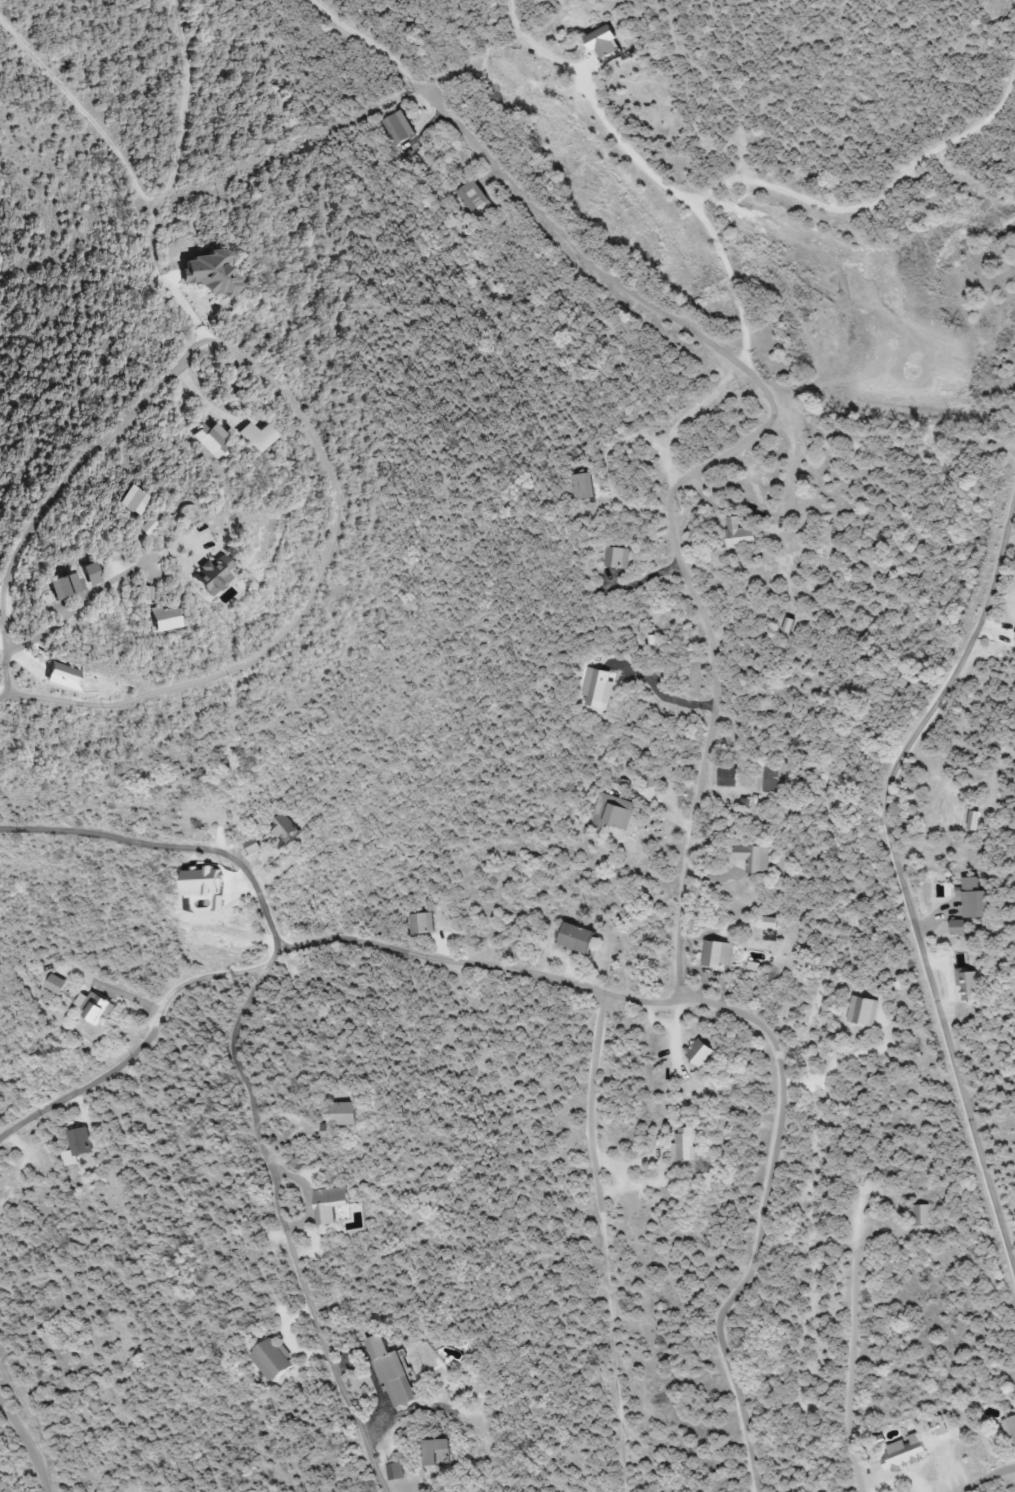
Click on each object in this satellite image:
building: (403, 129)
building: (474, 196)
building: (215, 274)
building: (259, 438)
building: (212, 440)
building: (585, 487)
building: (136, 501)
road: (338, 529)
building: (741, 535)
building: (620, 558)
building: (94, 577)
building: (217, 577)
building: (66, 588)
building: (167, 618)
road: (61, 621)
building: (65, 677)
road: (711, 728)
building: (729, 776)
building: (775, 779)
building: (615, 813)
building: (291, 829)
road: (167, 846)
building: (256, 846)
building: (754, 859)
road: (899, 876)
building: (976, 899)
building: (424, 924)
building: (960, 927)
building: (582, 939)
building: (720, 955)
road: (480, 966)
building: (59, 984)
building: (100, 1010)
building: (863, 1011)
road: (141, 1047)
building: (702, 1054)
building: (348, 1114)
building: (82, 1142)
building: (685, 1147)
building: (330, 1199)
building: (922, 1215)
road: (287, 1221)
road: (853, 1340)
building: (276, 1360)
building: (396, 1374)
building: (1011, 1430)
road: (28, 1443)
building: (442, 1452)
building: (398, 1472)
road: (989, 1480)

